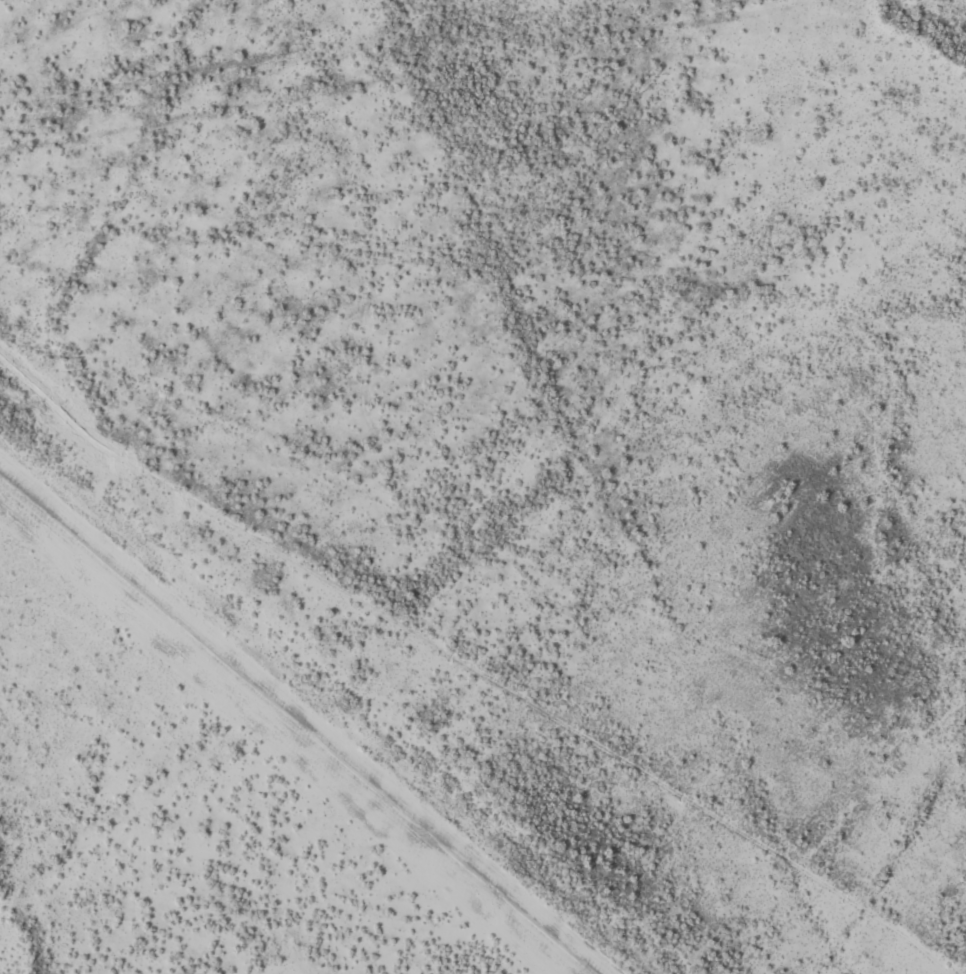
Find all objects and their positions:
road: (899, 854)

